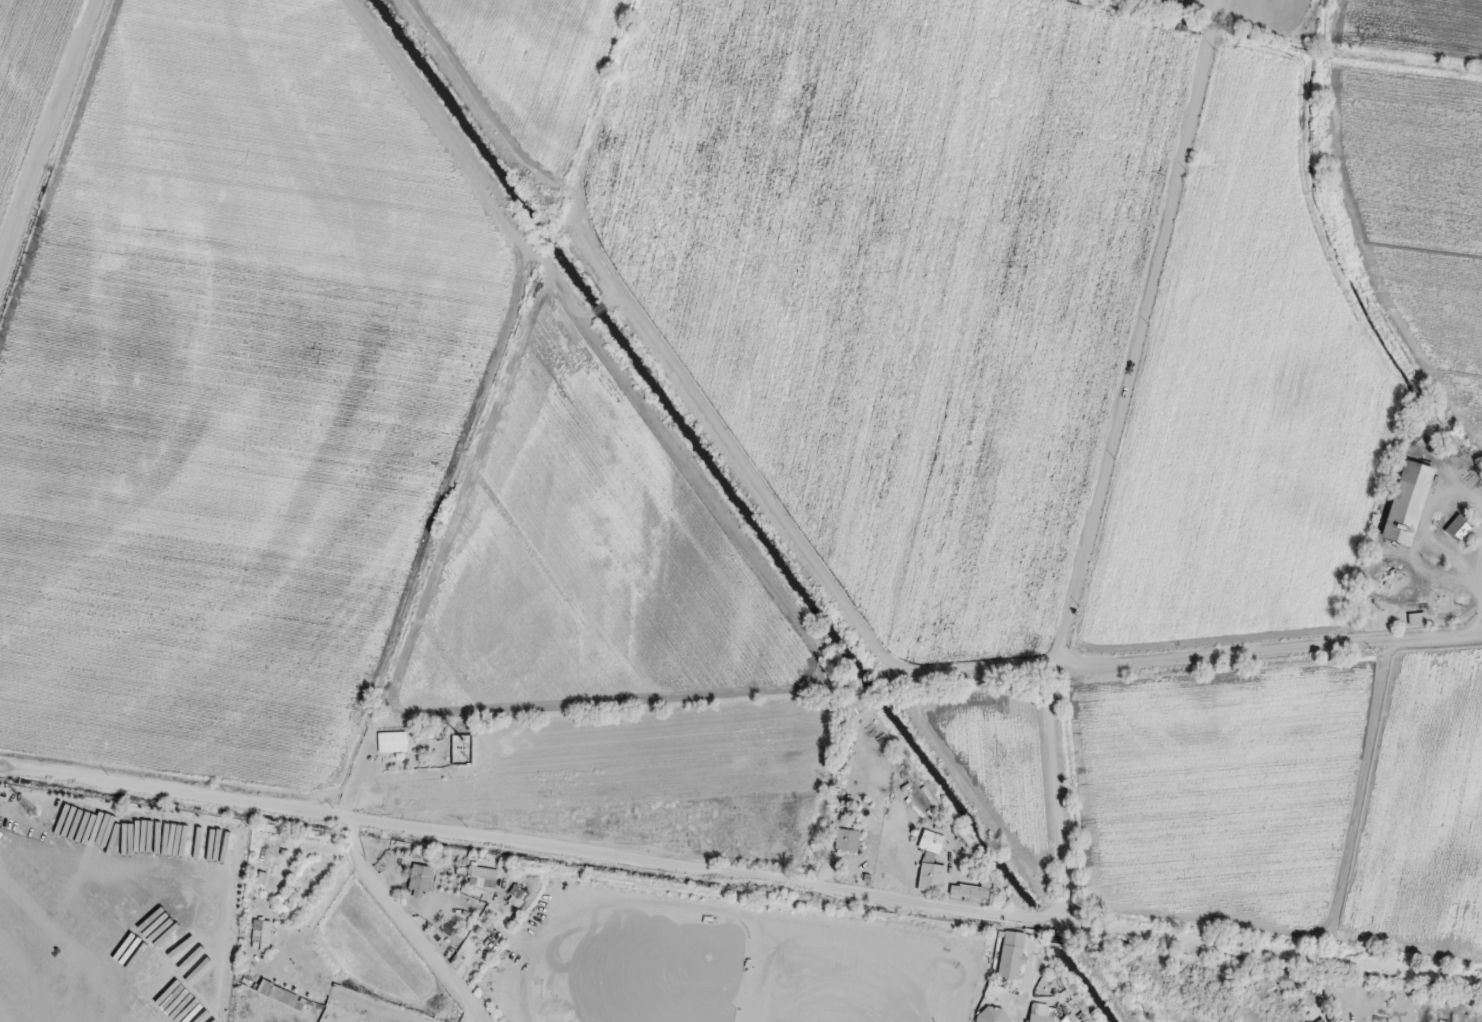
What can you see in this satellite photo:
crop: (218, 375)
road: (1107, 459)
road: (1469, 634)
power tower: (31, 818)
park: (854, 982)

